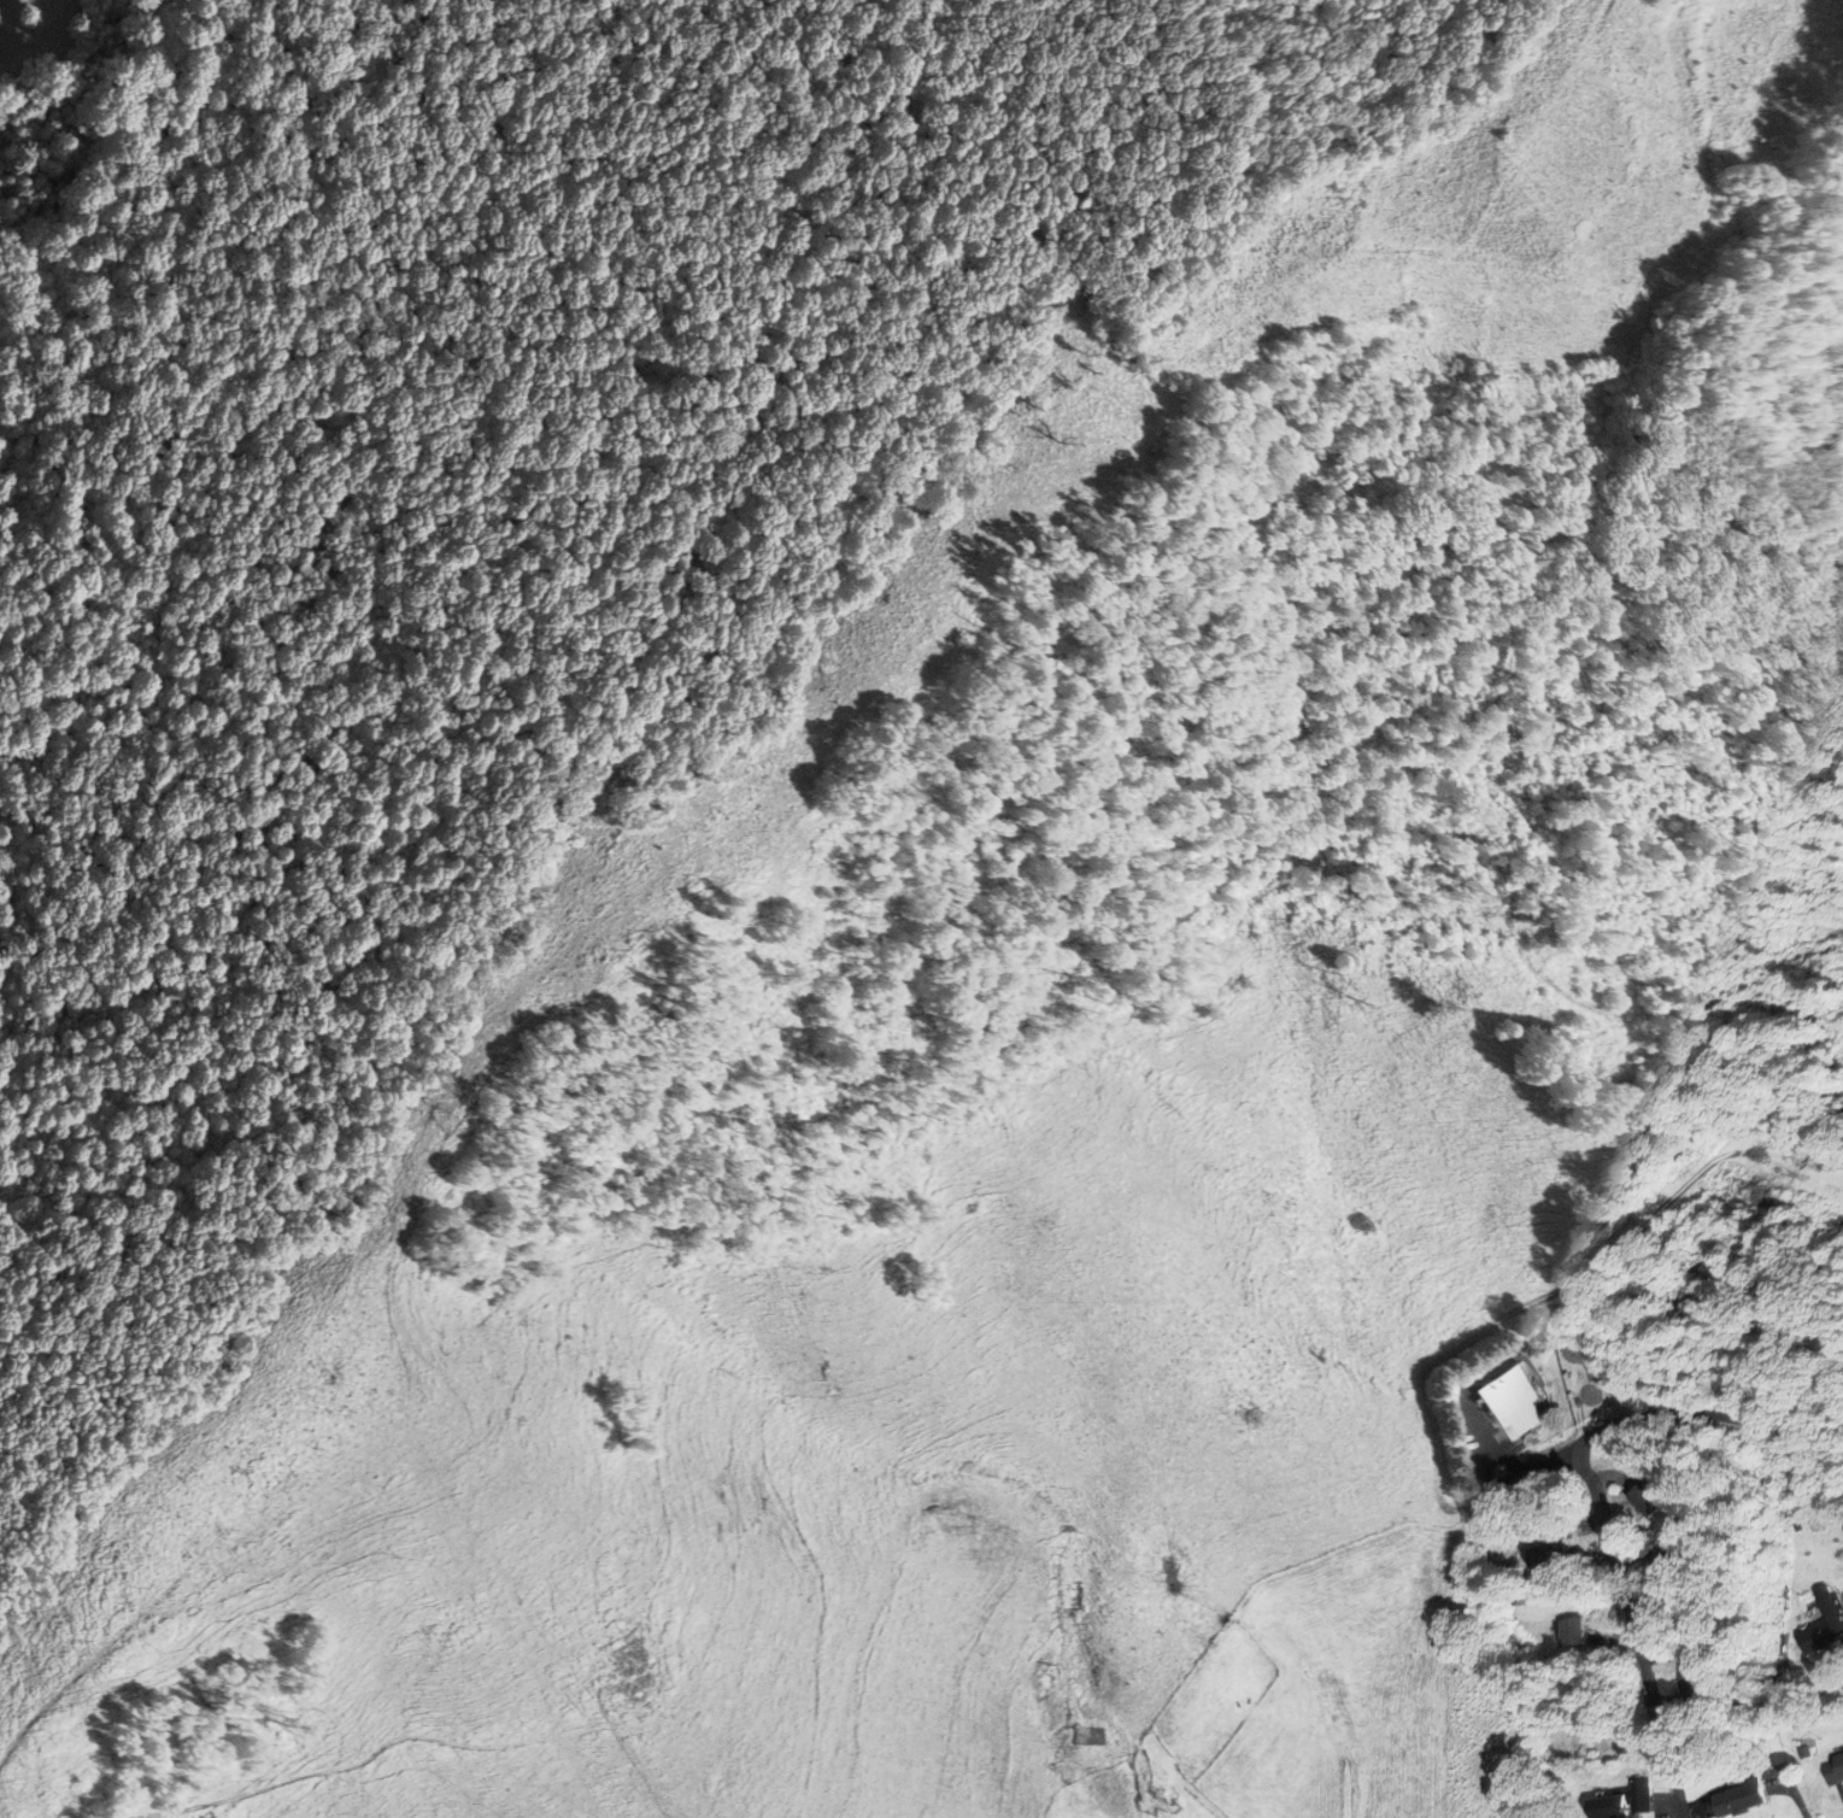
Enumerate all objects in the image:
building: (1352, 1222)
building: (1512, 1401)
road: (1419, 1454)
building: (1639, 1499)
building: (1546, 1556)
building: (1660, 1566)
building: (1823, 1623)
building: (1569, 1632)
building: (1691, 1677)
building: (1836, 1766)
building: (1639, 1795)
building: (1738, 1798)
building: (1606, 1807)

